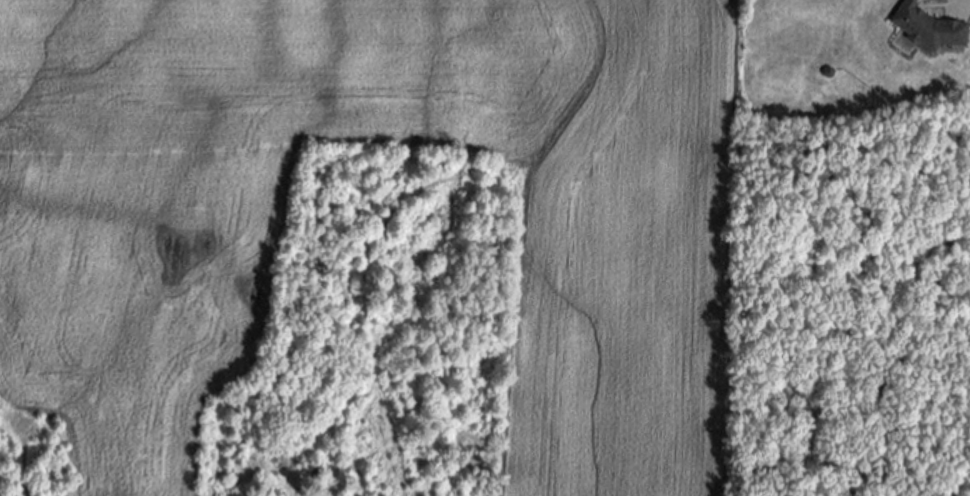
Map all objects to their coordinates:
road: (967, 2)
building: (930, 28)

